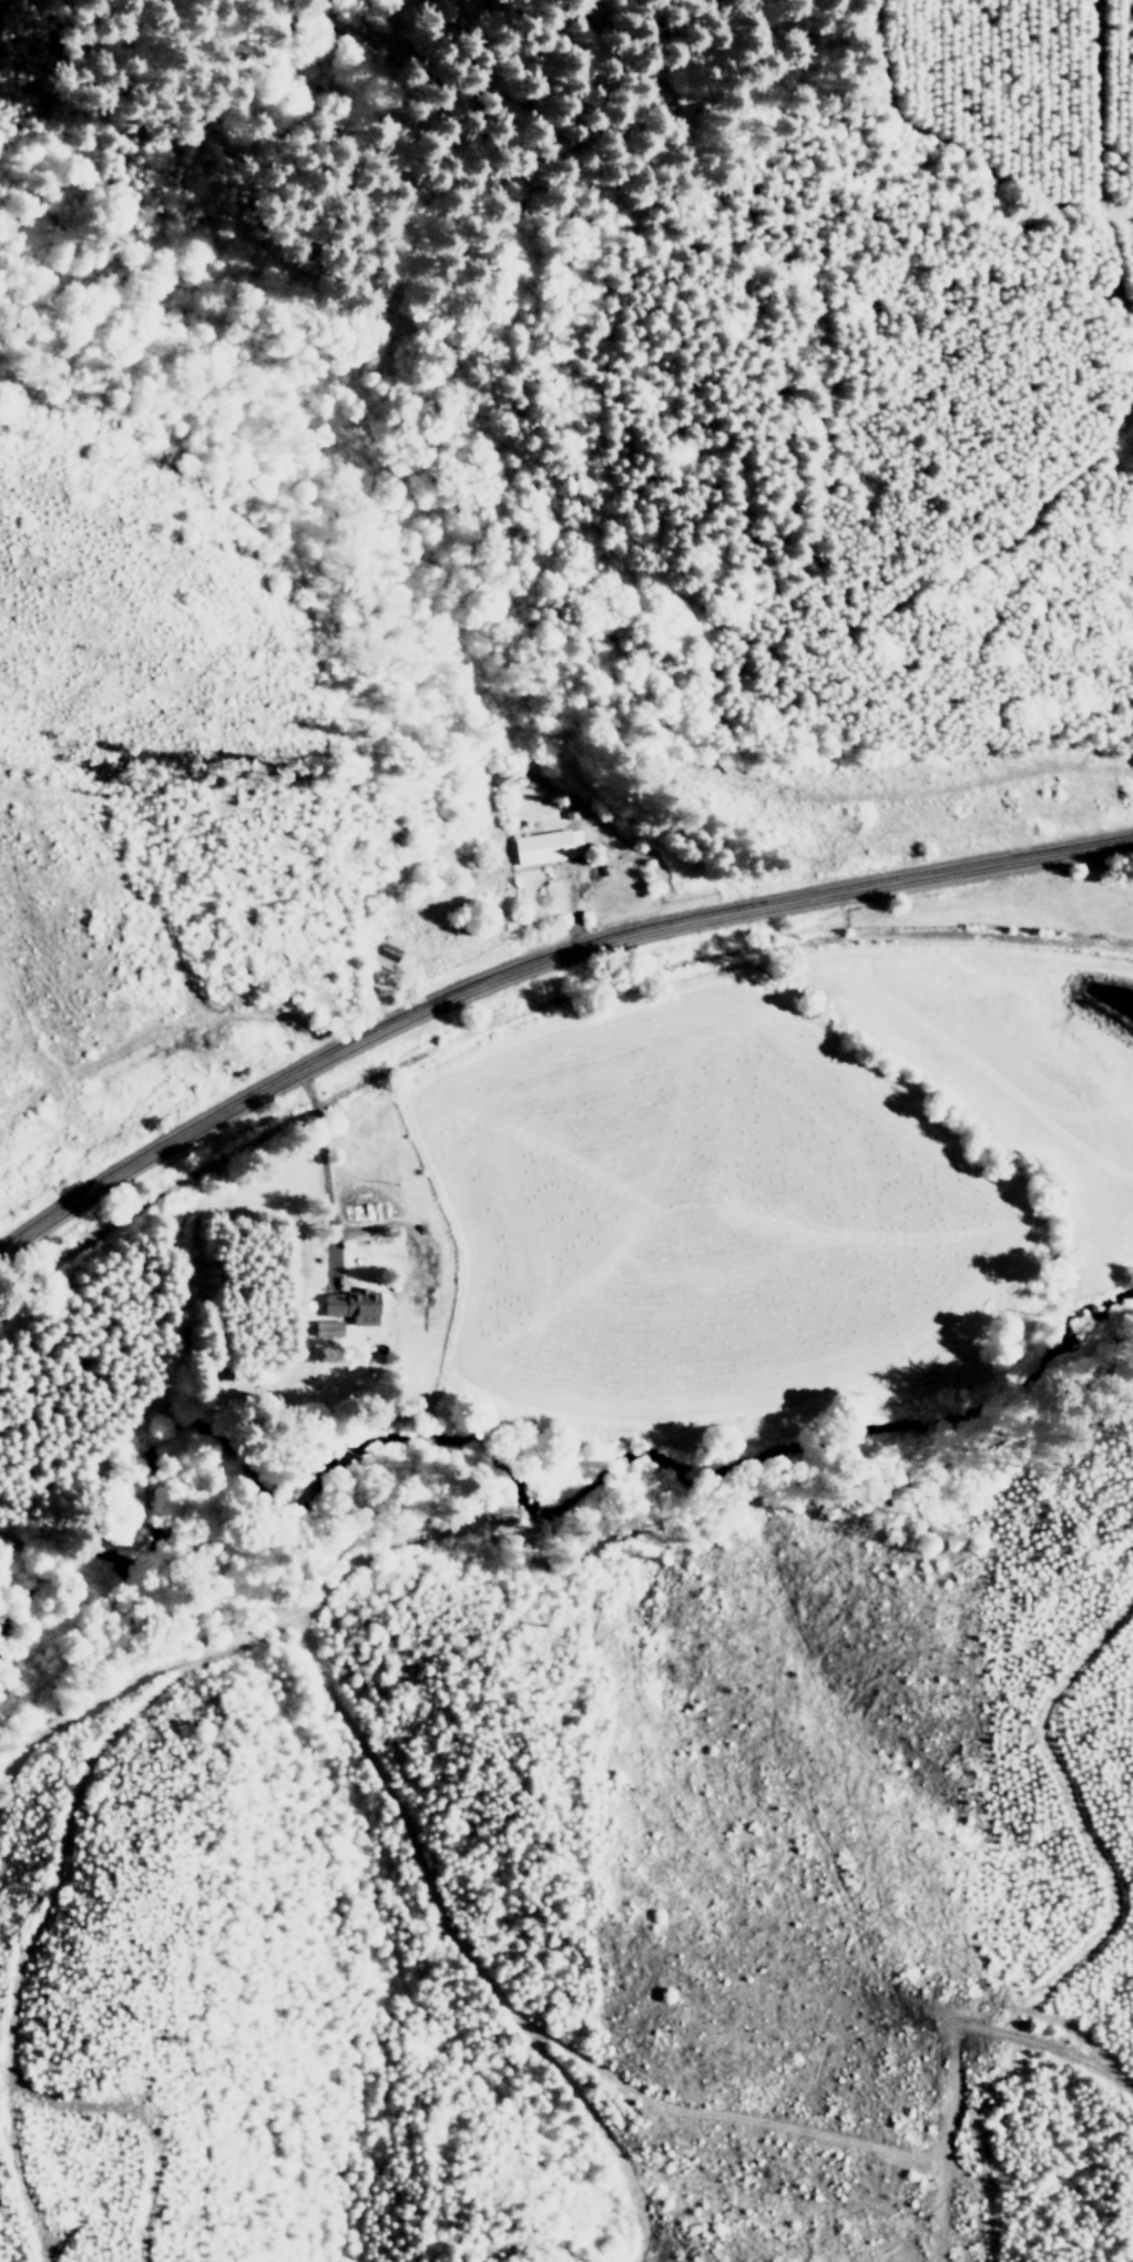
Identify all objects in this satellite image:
building: (545, 846)
road: (534, 959)
railway: (531, 1007)
road: (321, 1175)
building: (351, 1305)
building: (330, 1327)

